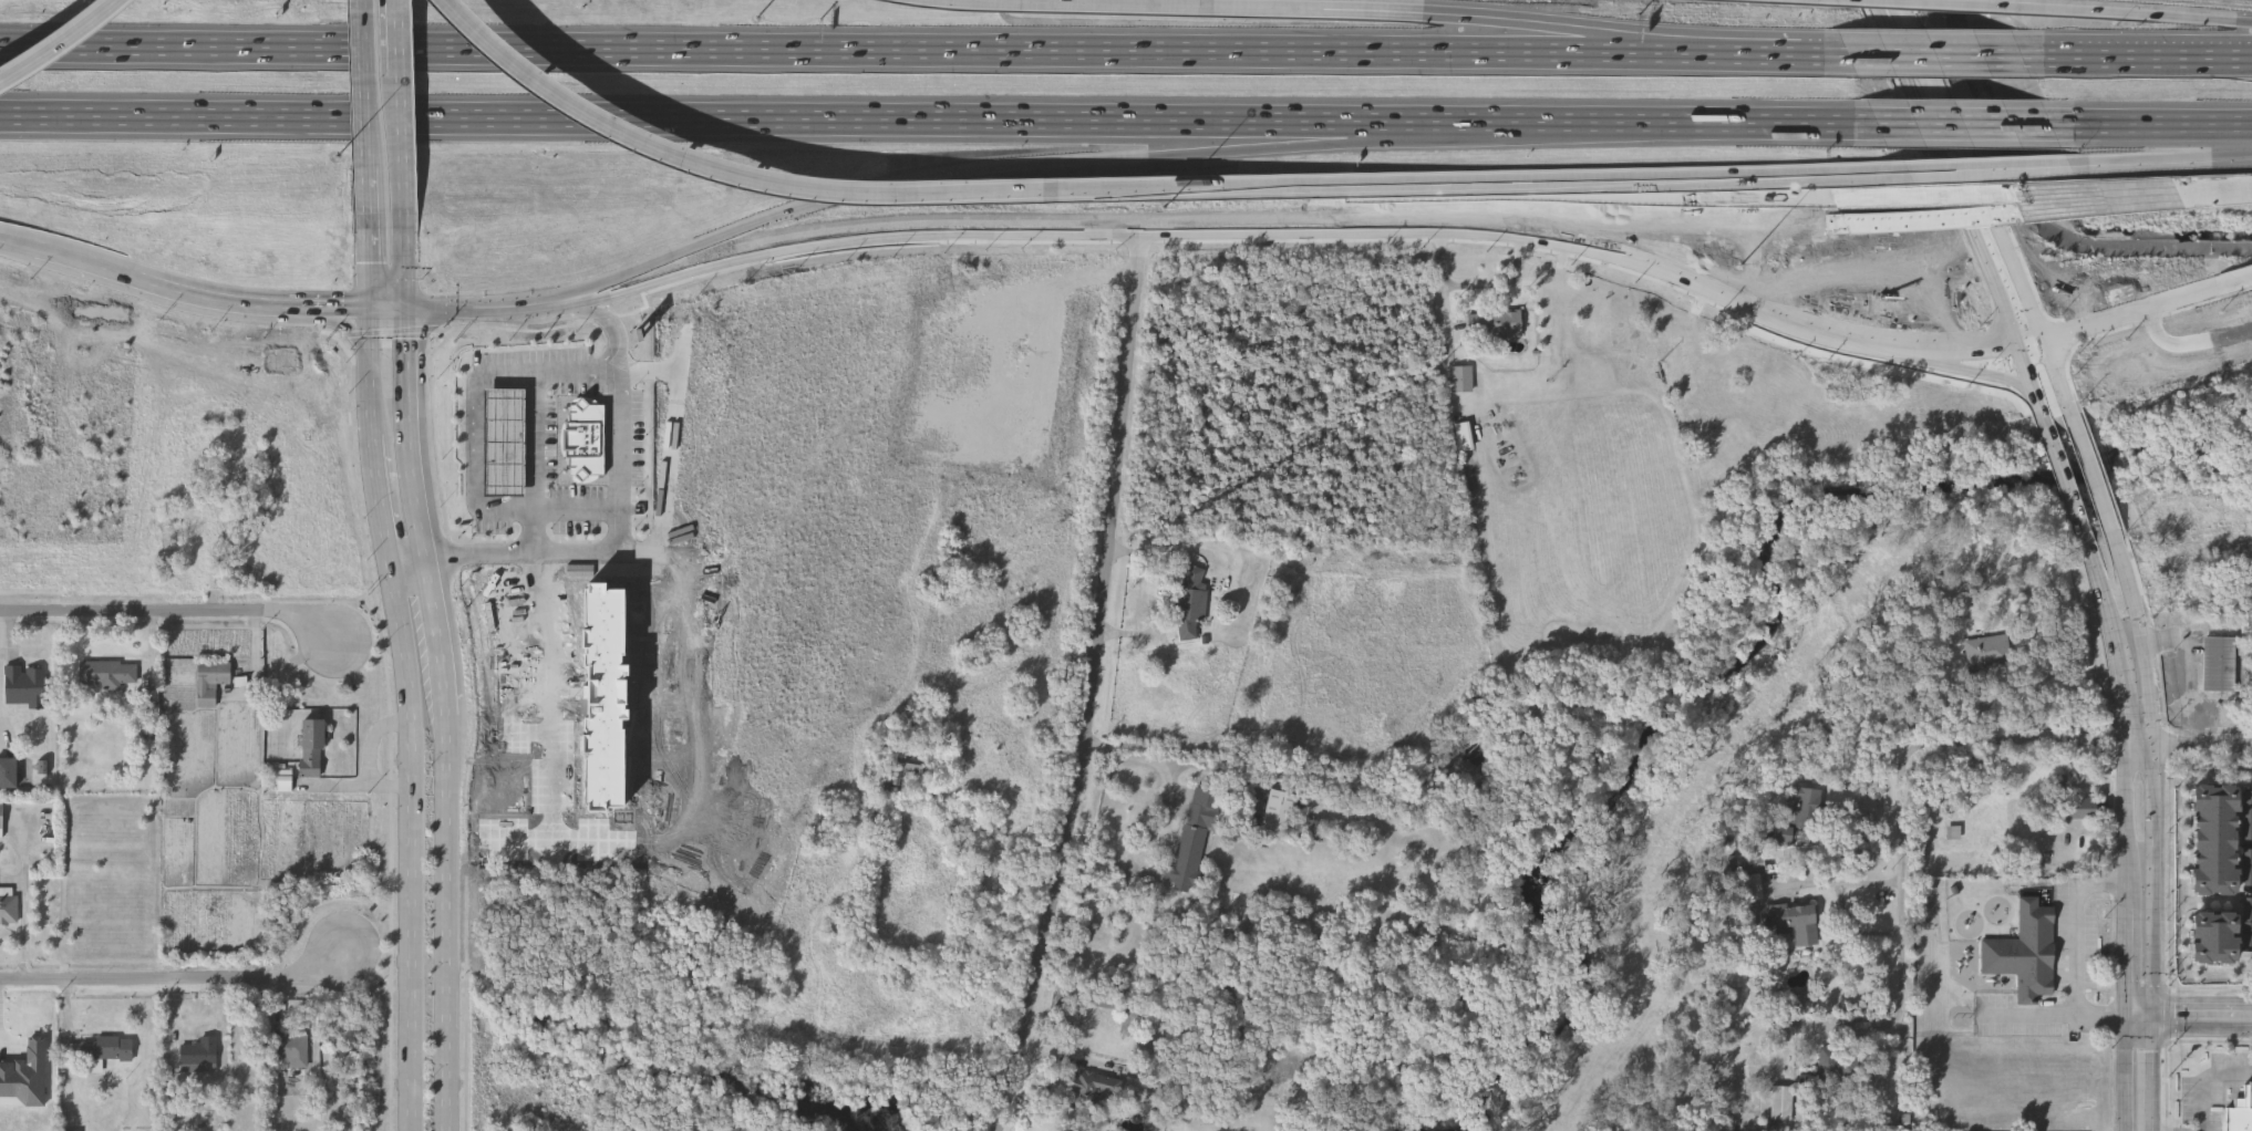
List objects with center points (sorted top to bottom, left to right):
road: (1192, 0)
road: (1931, 2)
road: (1316, 6)
road: (2118, 11)
road: (2244, 21)
road: (1561, 27)
road: (60, 44)
road: (849, 48)
road: (1770, 52)
road: (1925, 53)
road: (2131, 54)
road: (1949, 106)
road: (1924, 110)
road: (68, 115)
road: (1006, 118)
road: (1964, 124)
road: (2151, 124)
road: (364, 126)
road: (403, 127)
road: (2232, 153)
road: (2140, 159)
road: (568, 166)
road: (727, 168)
road: (1971, 168)
road: (1747, 178)
road: (1336, 187)
road: (1718, 189)
road: (1988, 195)
road: (2039, 210)
road: (1494, 215)
road: (1300, 220)
road: (1678, 220)
road: (1037, 222)
road: (1519, 231)
road: (19, 238)
road: (755, 250)
road: (369, 281)
road: (407, 283)
road: (2234, 284)
road: (1471, 287)
road: (177, 292)
road: (561, 300)
road: (1737, 300)
road: (1443, 308)
road: (475, 309)
road: (345, 310)
traffic signals: (369, 310)
road: (389, 311)
traffic signals: (410, 312)
road: (2131, 313)
road: (2036, 314)
building: (1495, 321)
road: (2008, 322)
road: (613, 326)
road: (349, 328)
traffic signals: (2046, 338)
road: (2190, 342)
traffic signals: (2018, 346)
road: (1971, 349)
road: (369, 371)
road: (1967, 372)
building: (1463, 376)
road: (477, 421)
building: (1465, 434)
road: (411, 436)
building: (585, 438)
building: (503, 440)
gas station: (503, 440)
road: (2094, 477)
road: (2067, 486)
road: (533, 487)
road: (379, 500)
building: (202, 521)
road: (617, 552)
road: (412, 564)
road: (1161, 589)
road: (2104, 598)
road: (174, 600)
building: (1190, 601)
road: (443, 637)
road: (2145, 639)
building: (1986, 651)
road: (510, 663)
building: (2220, 664)
building: (104, 673)
road: (2188, 677)
building: (209, 681)
road: (1095, 682)
building: (23, 685)
building: (606, 695)
road: (2122, 695)
road: (552, 697)
building: (152, 698)
road: (2139, 743)
road: (2202, 744)
road: (1979, 746)
building: (310, 747)
building: (44, 767)
building: (9, 772)
building: (902, 775)
building: (286, 780)
building: (178, 807)
building: (2081, 811)
building: (1278, 812)
building: (1796, 812)
building: (2248, 814)
building: (0, 817)
building: (1953, 831)
building: (1192, 840)
building: (2215, 840)
road: (543, 842)
road: (410, 849)
building: (2249, 868)
building: (1748, 870)
road: (2129, 879)
road: (2152, 880)
road: (18, 899)
building: (8, 904)
road: (1842, 905)
building: (1795, 921)
building: (2248, 921)
road: (452, 923)
road: (2078, 924)
building: (2215, 938)
building: (2025, 950)
road: (1903, 972)
road: (176, 978)
road: (2031, 1016)
road: (2104, 1016)
traffic signals: (2129, 1016)
road: (2140, 1016)
traffic signals: (2152, 1016)
road: (2202, 1016)
building: (101, 1048)
building: (290, 1050)
building: (199, 1055)
building: (1835, 1067)
road: (2129, 1073)
road: (2152, 1073)
building: (25, 1077)
road: (2204, 1079)
building: (1092, 1089)
building: (1781, 1101)
building: (2241, 1112)
building: (534, 1128)

